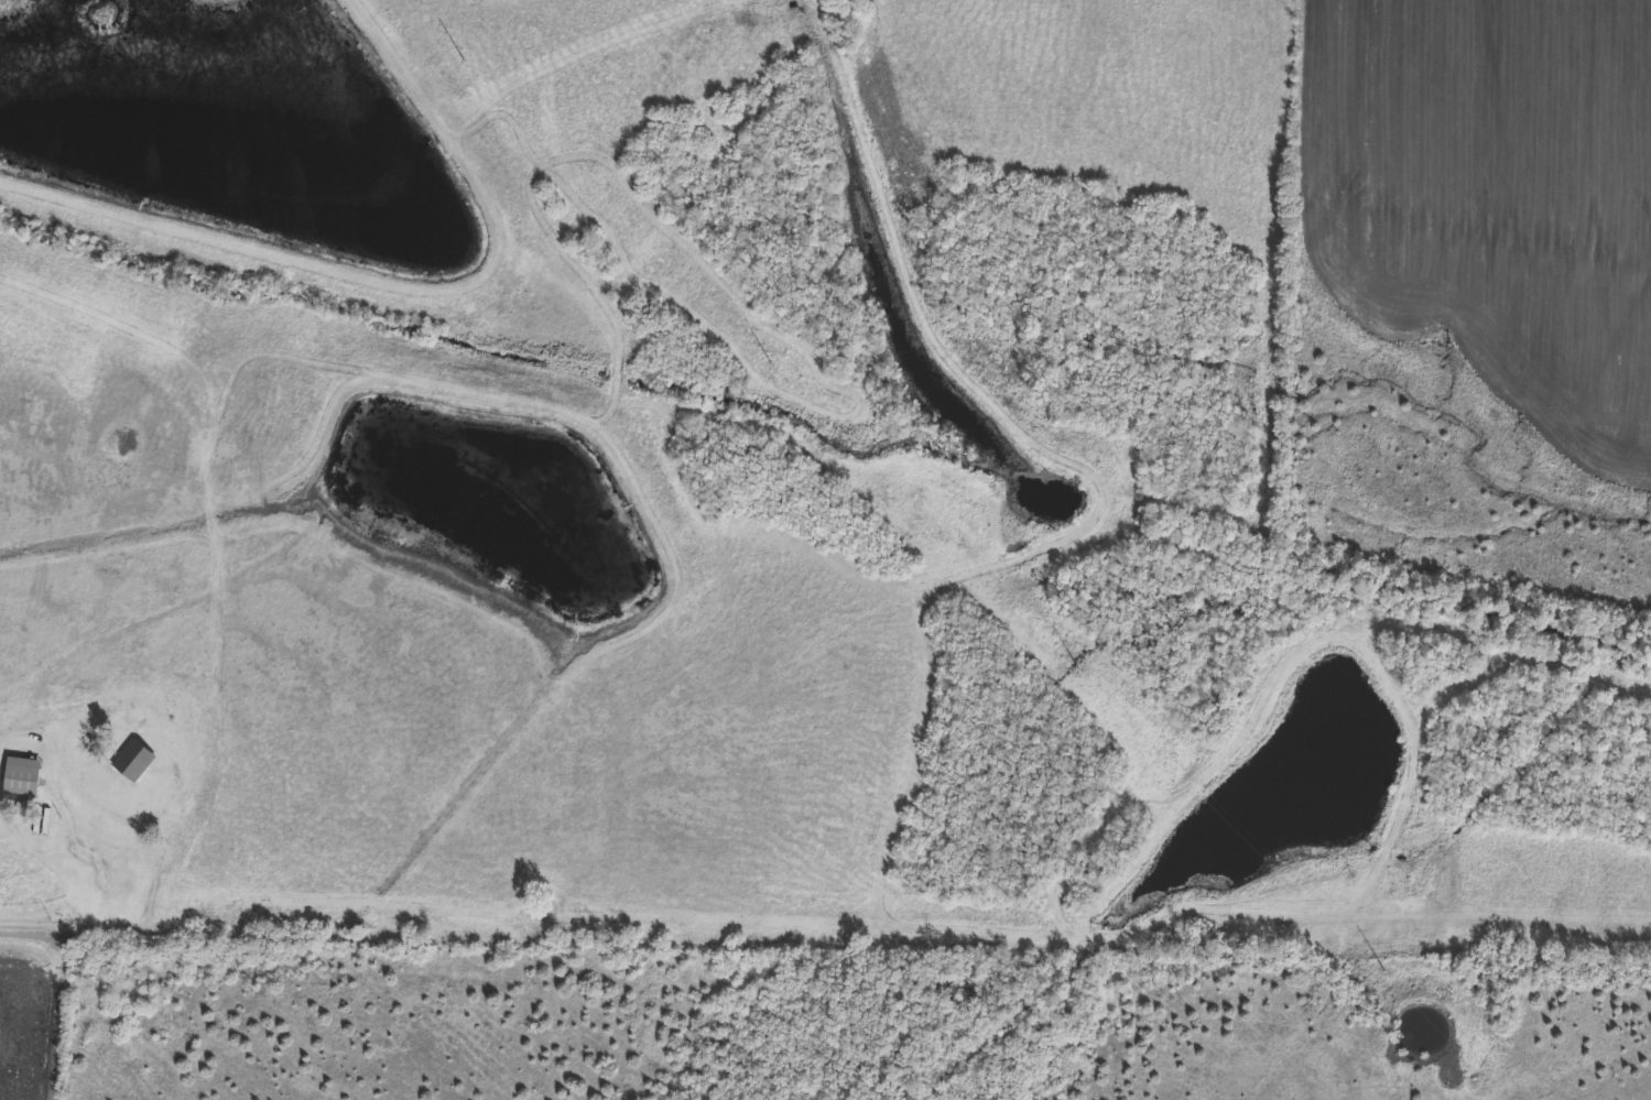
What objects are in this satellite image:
power tower: (466, 65)
power tower: (780, 364)
power tower: (1083, 673)
building: (135, 763)
building: (23, 777)
road: (29, 936)
power tower: (1388, 978)

